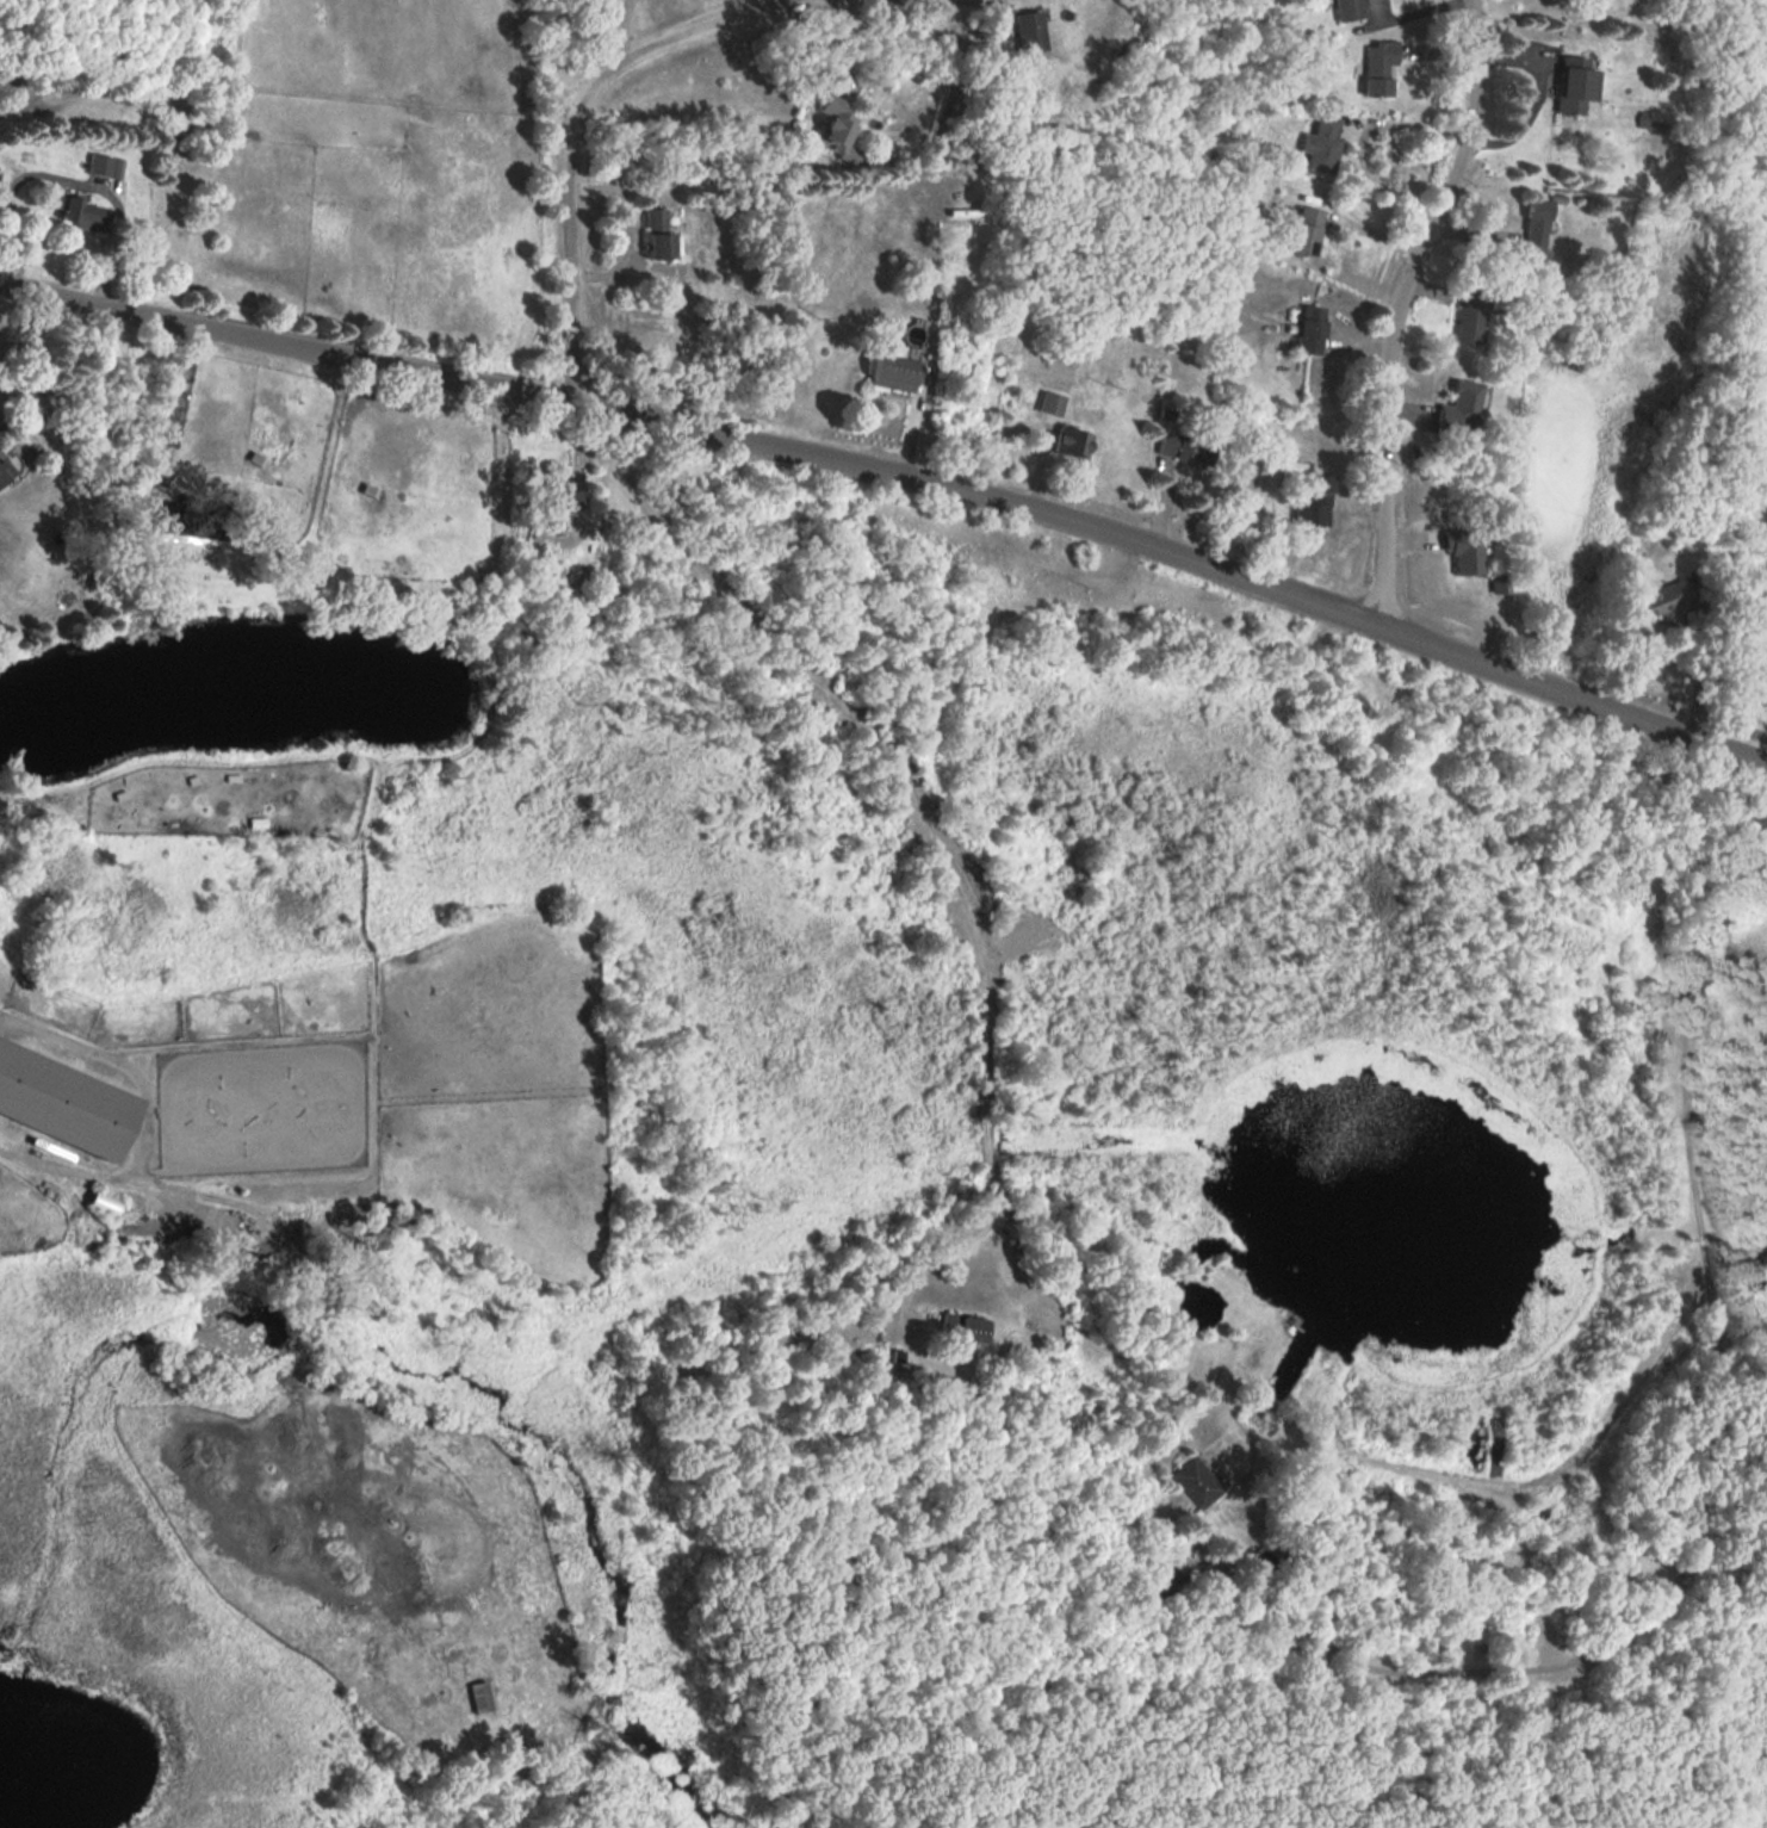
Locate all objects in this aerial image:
building: (1347, 10)
road: (621, 29)
building: (1028, 31)
road: (558, 66)
building: (1377, 66)
building: (1576, 83)
road: (1537, 91)
building: (833, 130)
road: (1359, 137)
building: (1322, 142)
road: (571, 151)
building: (99, 163)
road: (70, 172)
building: (79, 212)
building: (1536, 224)
road: (627, 225)
building: (1302, 230)
building: (662, 235)
road: (1396, 306)
building: (1471, 315)
building: (1312, 329)
building: (894, 370)
building: (1050, 403)
building: (1462, 404)
building: (1071, 442)
building: (1185, 447)
building: (2, 471)
road: (897, 473)
building: (566, 487)
building: (1316, 502)
building: (1463, 550)
building: (1661, 597)
road: (1694, 667)
building: (1766, 676)
building: (1761, 811)
road: (938, 837)
building: (63, 1101)
building: (962, 1328)
building: (1197, 1481)
building: (1161, 1574)
road: (1447, 1668)
building: (479, 1696)

